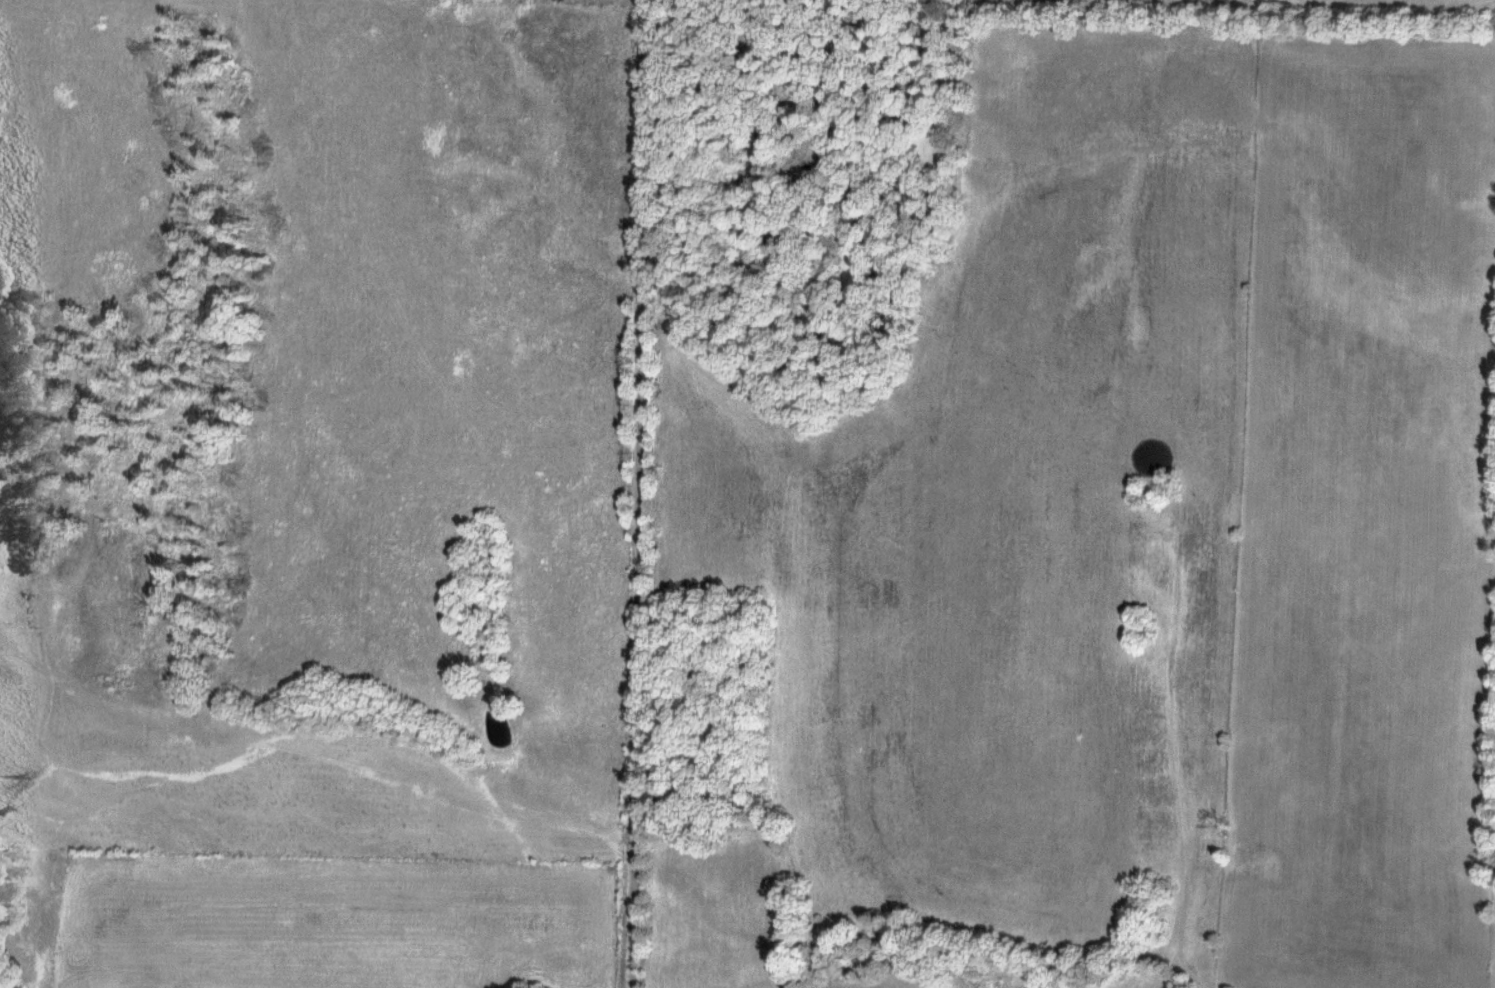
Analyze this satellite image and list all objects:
road: (636, 494)

